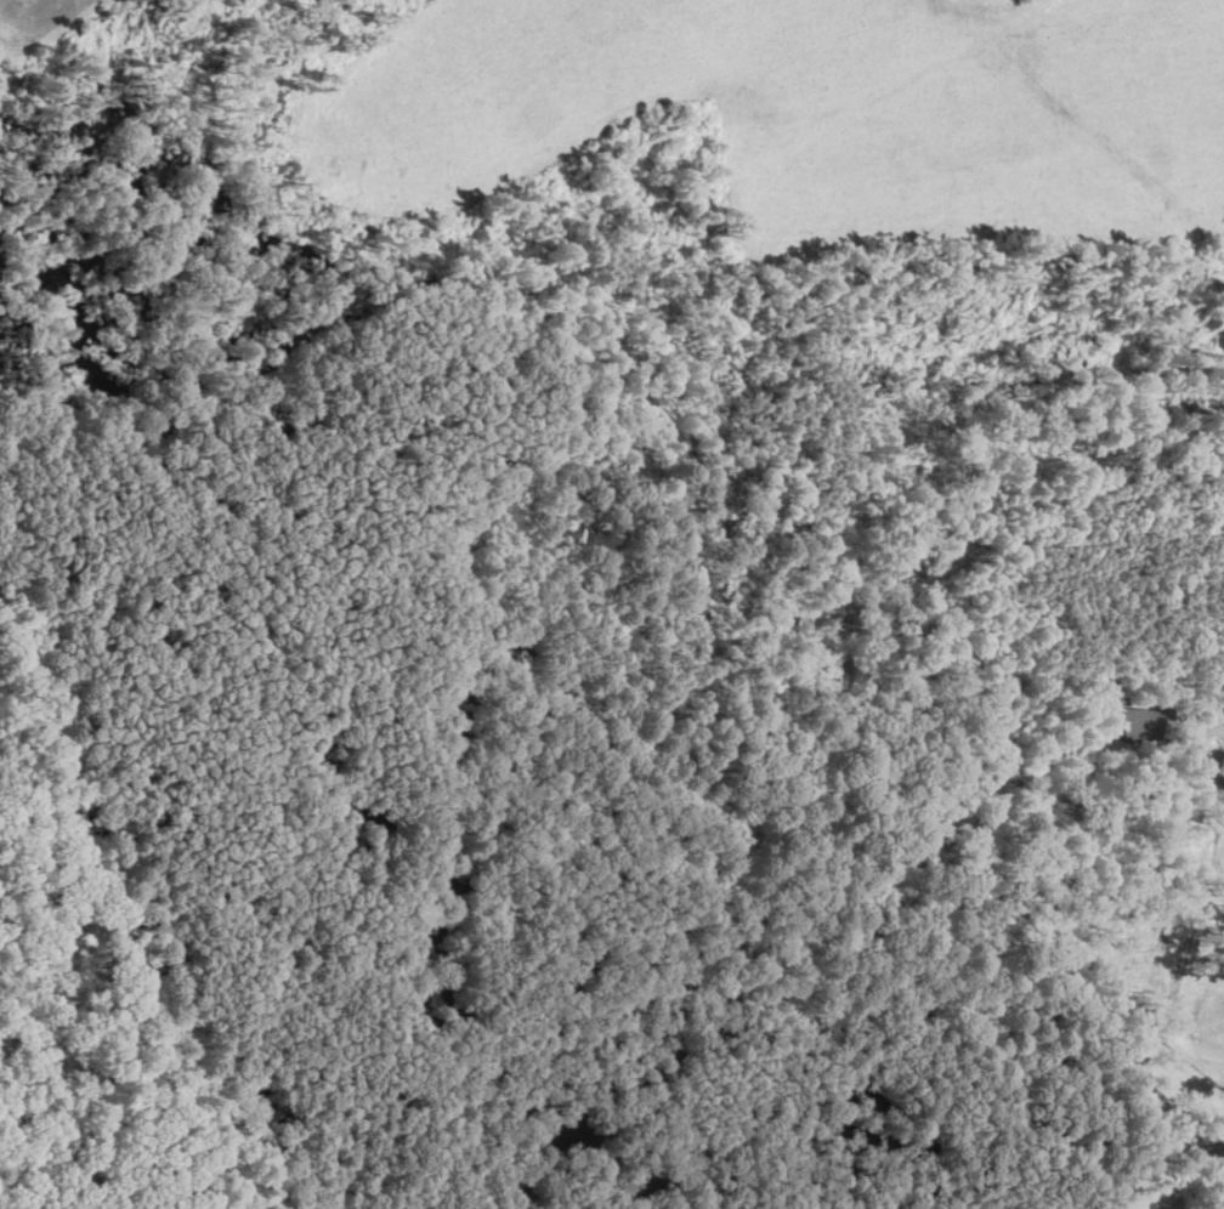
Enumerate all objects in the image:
building: (1139, 723)

